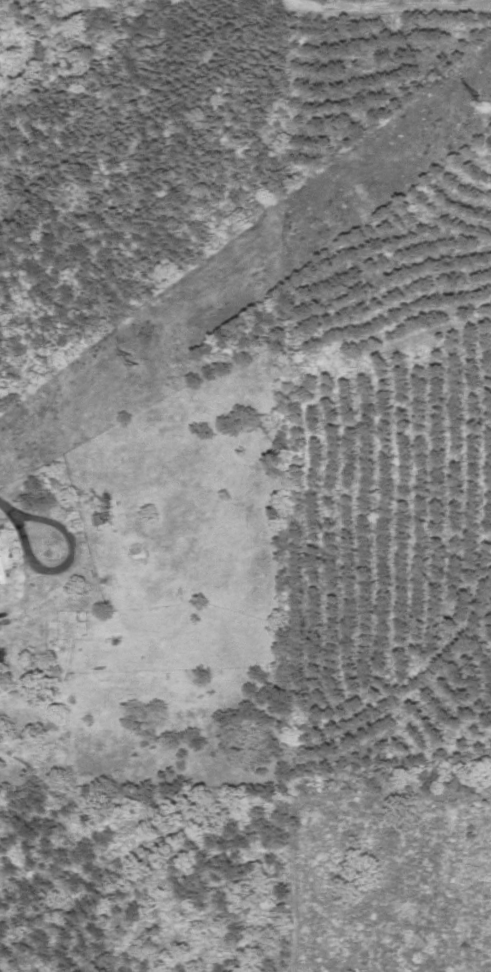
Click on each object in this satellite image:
power tower: (489, 95)
road: (4, 504)
building: (104, 519)
road: (34, 558)
building: (3, 573)

